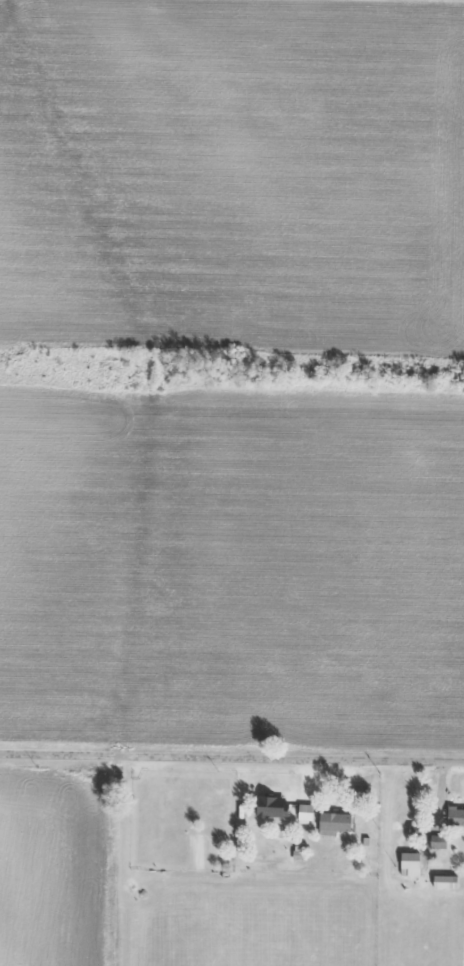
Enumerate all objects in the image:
road: (232, 762)
building: (298, 812)
building: (454, 818)
building: (335, 822)
building: (434, 842)
building: (406, 864)
crop: (50, 870)
building: (440, 882)

